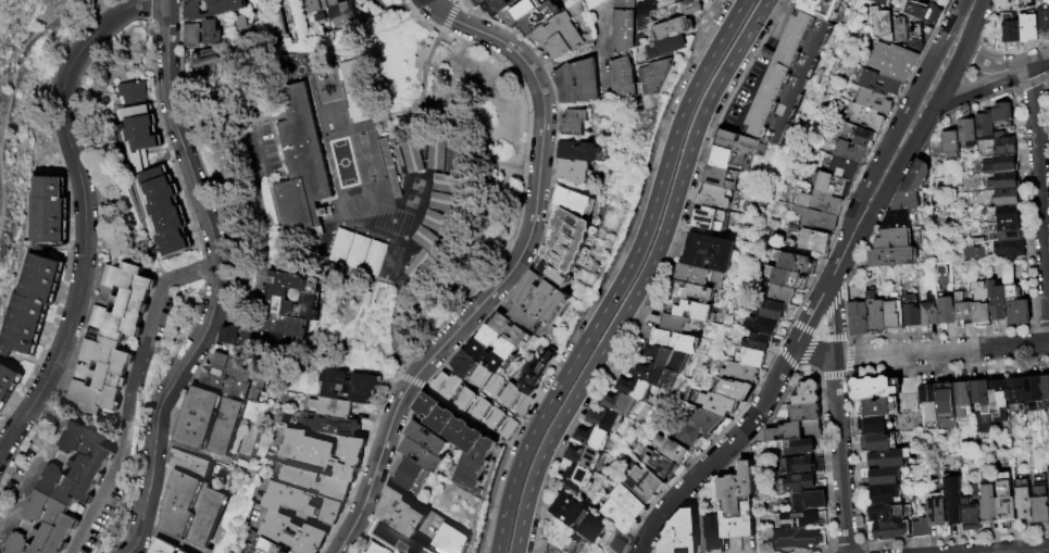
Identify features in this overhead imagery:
building: (374, 0)
building: (384, 0)
building: (690, 0)
building: (195, 1)
building: (881, 1)
building: (1026, 1)
building: (480, 2)
road: (436, 3)
building: (321, 5)
road: (395, 5)
building: (499, 7)
building: (697, 7)
building: (820, 8)
building: (215, 10)
road: (43, 11)
building: (523, 11)
building: (921, 12)
building: (646, 13)
building: (345, 15)
building: (542, 17)
building: (1044, 20)
road: (975, 22)
road: (445, 25)
building: (626, 26)
building: (1027, 27)
building: (678, 28)
building: (898, 30)
building: (254, 32)
building: (213, 34)
building: (296, 34)
building: (1010, 34)
building: (564, 35)
building: (195, 36)
road: (291, 46)
road: (604, 47)
building: (672, 47)
road: (14, 58)
building: (209, 61)
road: (570, 61)
building: (892, 61)
road: (1031, 65)
road: (984, 66)
road: (949, 76)
building: (787, 77)
building: (640, 78)
building: (580, 83)
building: (881, 84)
road: (972, 89)
building: (353, 90)
road: (273, 98)
building: (873, 101)
park: (26, 104)
building: (1001, 114)
road: (902, 115)
building: (865, 118)
building: (139, 120)
building: (577, 123)
road: (241, 127)
building: (984, 128)
building: (966, 131)
building: (858, 136)
building: (738, 143)
building: (1004, 143)
building: (370, 146)
building: (950, 146)
parking lot: (261, 147)
road: (253, 151)
building: (580, 152)
building: (850, 152)
building: (440, 154)
building: (415, 156)
building: (730, 159)
building: (1003, 164)
building: (303, 167)
building: (842, 168)
building: (394, 169)
road: (1040, 171)
building: (576, 173)
building: (720, 176)
road: (898, 176)
building: (378, 180)
building: (1004, 181)
building: (831, 184)
building: (450, 185)
building: (913, 188)
road: (1, 191)
building: (714, 197)
building: (1006, 198)
building: (820, 202)
building: (577, 203)
building: (447, 204)
building: (51, 213)
building: (1002, 214)
road: (84, 215)
building: (168, 215)
building: (710, 219)
building: (814, 219)
building: (897, 219)
building: (441, 224)
building: (1004, 231)
building: (895, 239)
building: (813, 240)
building: (432, 241)
building: (572, 242)
building: (1009, 248)
building: (340, 249)
road: (263, 251)
building: (709, 252)
building: (973, 252)
building: (892, 257)
road: (844, 259)
building: (792, 262)
building: (366, 265)
building: (423, 266)
road: (514, 268)
building: (558, 276)
building: (699, 276)
road: (623, 277)
road: (645, 278)
building: (785, 278)
road: (216, 282)
building: (691, 291)
building: (775, 292)
building: (278, 298)
building: (546, 300)
building: (997, 301)
building: (125, 302)
building: (981, 303)
building: (34, 304)
building: (1016, 306)
building: (945, 309)
building: (962, 309)
building: (690, 310)
building: (772, 310)
building: (910, 311)
building: (927, 311)
building: (874, 314)
building: (894, 315)
road: (814, 317)
building: (857, 318)
building: (533, 322)
road: (834, 322)
building: (679, 324)
building: (286, 325)
building: (762, 325)
road: (399, 329)
building: (514, 331)
building: (233, 336)
building: (758, 340)
building: (675, 341)
building: (273, 342)
building: (501, 343)
road: (142, 350)
road: (941, 352)
road: (814, 355)
building: (491, 357)
building: (667, 357)
building: (750, 357)
building: (739, 372)
building: (539, 374)
building: (103, 375)
building: (655, 375)
building: (232, 377)
building: (494, 384)
building: (9, 385)
building: (352, 386)
building: (732, 388)
building: (874, 388)
building: (635, 389)
building: (1014, 390)
building: (1031, 390)
building: (1045, 390)
building: (806, 393)
building: (961, 399)
building: (997, 399)
building: (945, 401)
building: (620, 404)
building: (723, 404)
building: (476, 405)
building: (928, 405)
building: (981, 406)
building: (878, 407)
building: (334, 409)
road: (48, 412)
building: (803, 413)
building: (604, 419)
building: (708, 420)
building: (876, 425)
building: (212, 426)
building: (329, 426)
building: (794, 430)
building: (689, 433)
building: (429, 439)
building: (595, 439)
building: (461, 440)
building: (879, 442)
building: (798, 447)
building: (670, 449)
building: (326, 452)
building: (424, 455)
road: (723, 455)
road: (840, 456)
building: (586, 457)
building: (887, 458)
building: (660, 464)
building: (192, 465)
building: (801, 465)
building: (80, 467)
building: (575, 476)
building: (413, 477)
building: (883, 477)
building: (1048, 478)
road: (32, 480)
building: (316, 483)
building: (642, 483)
building: (796, 483)
building: (883, 494)
building: (1004, 499)
building: (952, 500)
building: (1022, 500)
building: (627, 501)
building: (809, 501)
building: (1039, 501)
building: (307, 504)
building: (737, 504)
building: (987, 504)
building: (971, 511)
building: (195, 512)
building: (887, 512)
building: (936, 512)
road: (93, 514)
building: (404, 514)
building: (617, 516)
building: (578, 517)
building: (797, 519)
building: (47, 527)
building: (920, 528)
building: (888, 530)
building: (295, 533)
building: (561, 533)
building: (711, 533)
building: (680, 535)
building: (796, 538)
building: (401, 540)
building: (453, 541)
building: (614, 541)
building: (266, 546)
building: (382, 546)
building: (165, 548)
road: (1025, 551)
building: (186, 552)
building: (367, 552)

